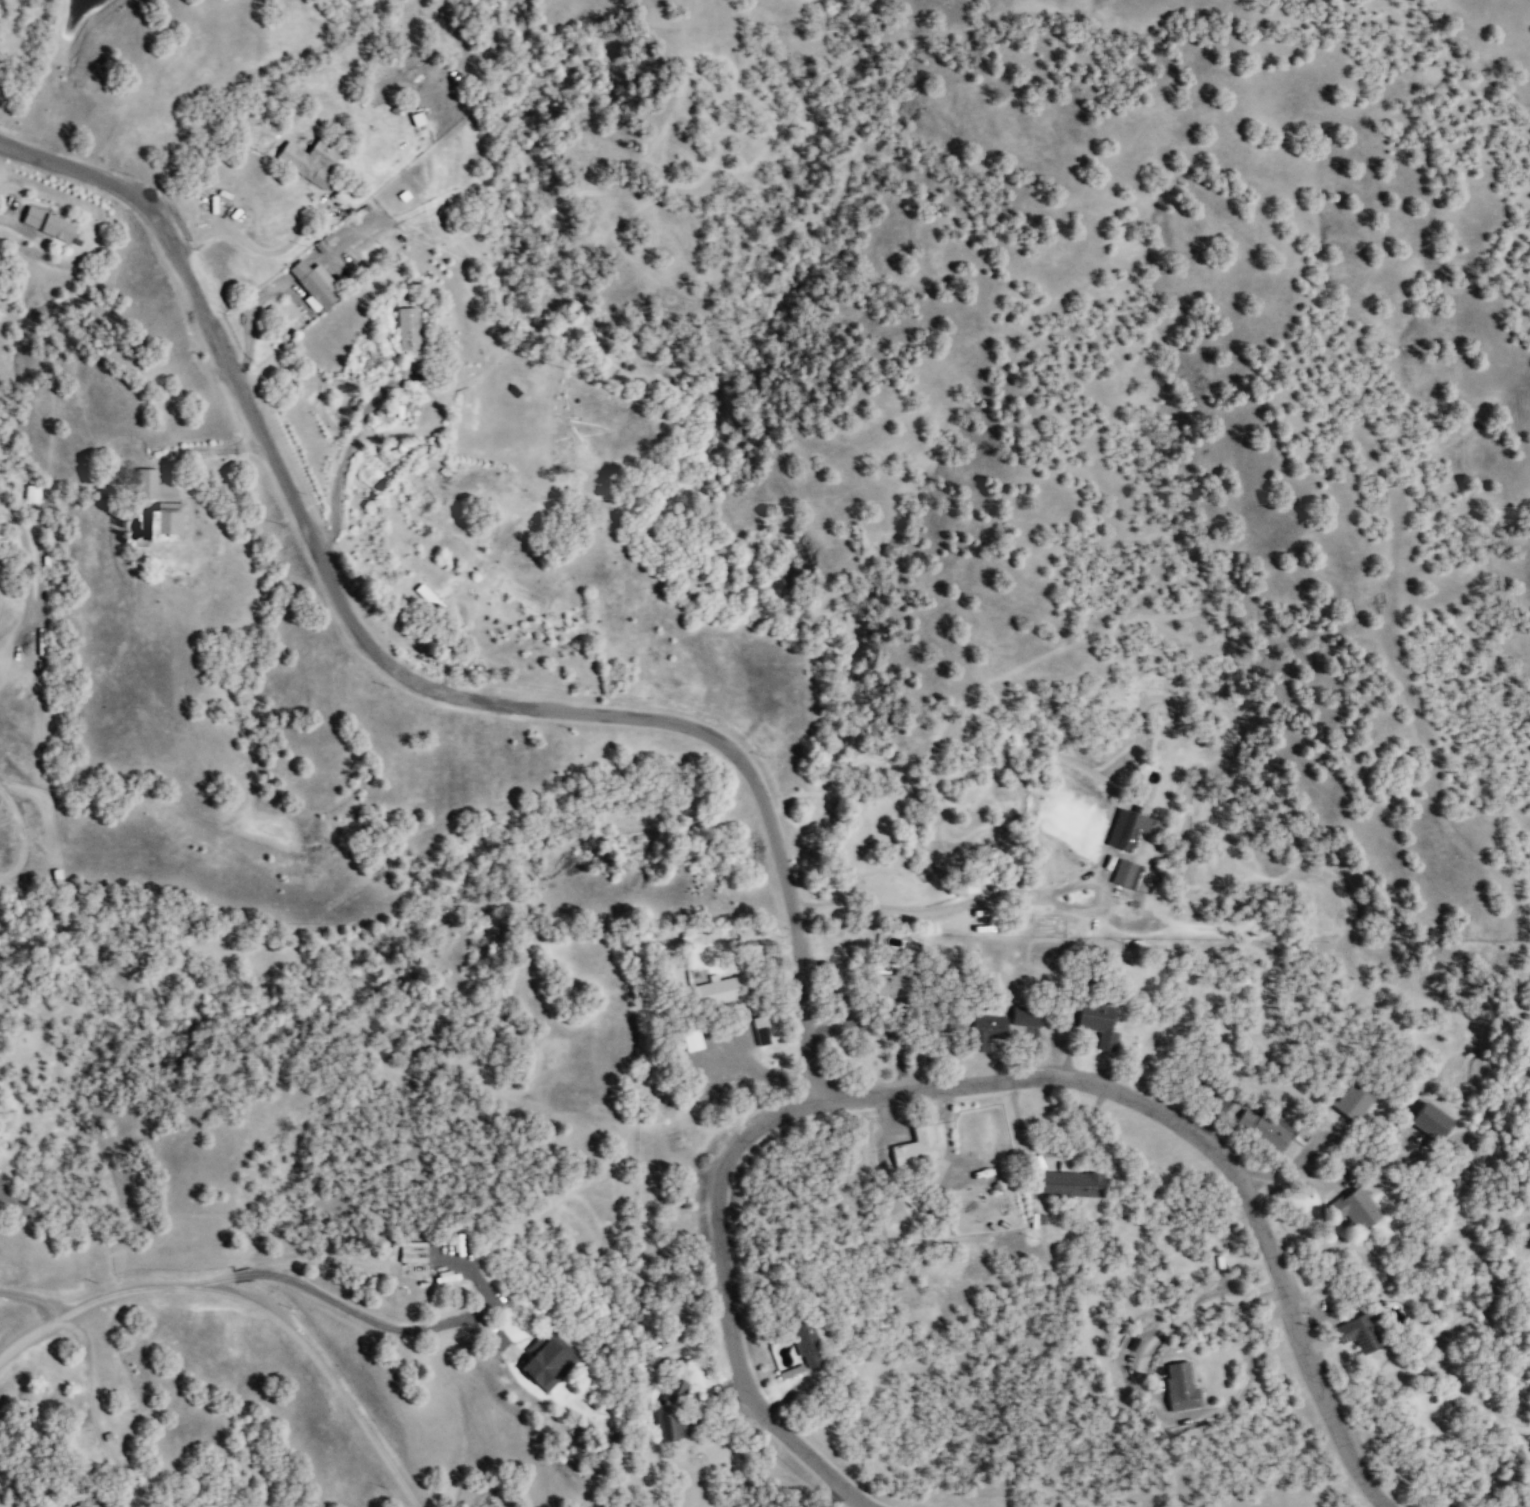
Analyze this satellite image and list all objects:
building: (417, 118)
building: (311, 161)
building: (49, 224)
building: (325, 242)
building: (314, 284)
building: (408, 328)
building: (148, 483)
building: (32, 494)
building: (166, 522)
building: (429, 597)
road: (413, 677)
building: (1127, 829)
building: (1126, 873)
road: (1000, 896)
building: (898, 982)
building: (720, 992)
building: (1027, 1017)
building: (1100, 1024)
building: (767, 1030)
building: (988, 1031)
building: (693, 1041)
road: (979, 1087)
building: (1354, 1102)
building: (1433, 1122)
building: (1263, 1129)
building: (915, 1149)
building: (1073, 1184)
building: (1358, 1208)
building: (415, 1253)
road: (247, 1300)
road: (1177, 1319)
building: (1360, 1333)
building: (810, 1347)
building: (550, 1362)
building: (1181, 1387)
building: (671, 1412)
road: (92, 1413)
building: (83, 1504)

